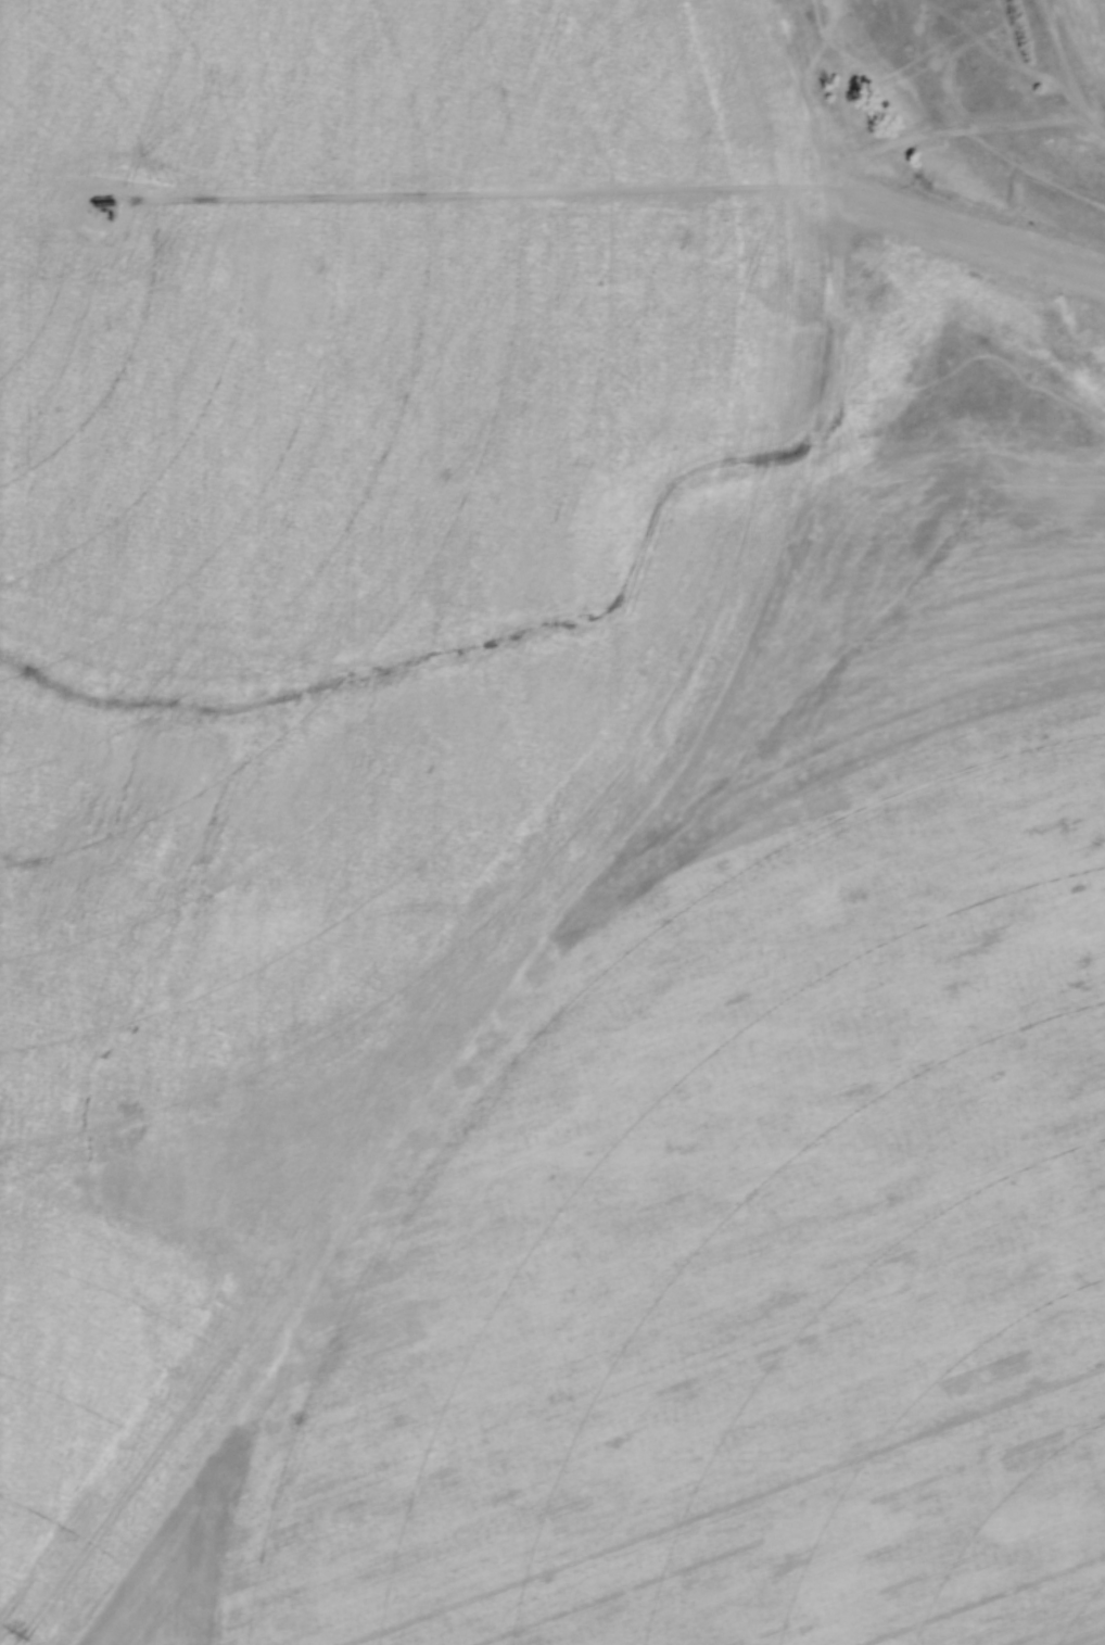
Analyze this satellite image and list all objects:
crop: (1089, 40)
crop: (521, 868)

